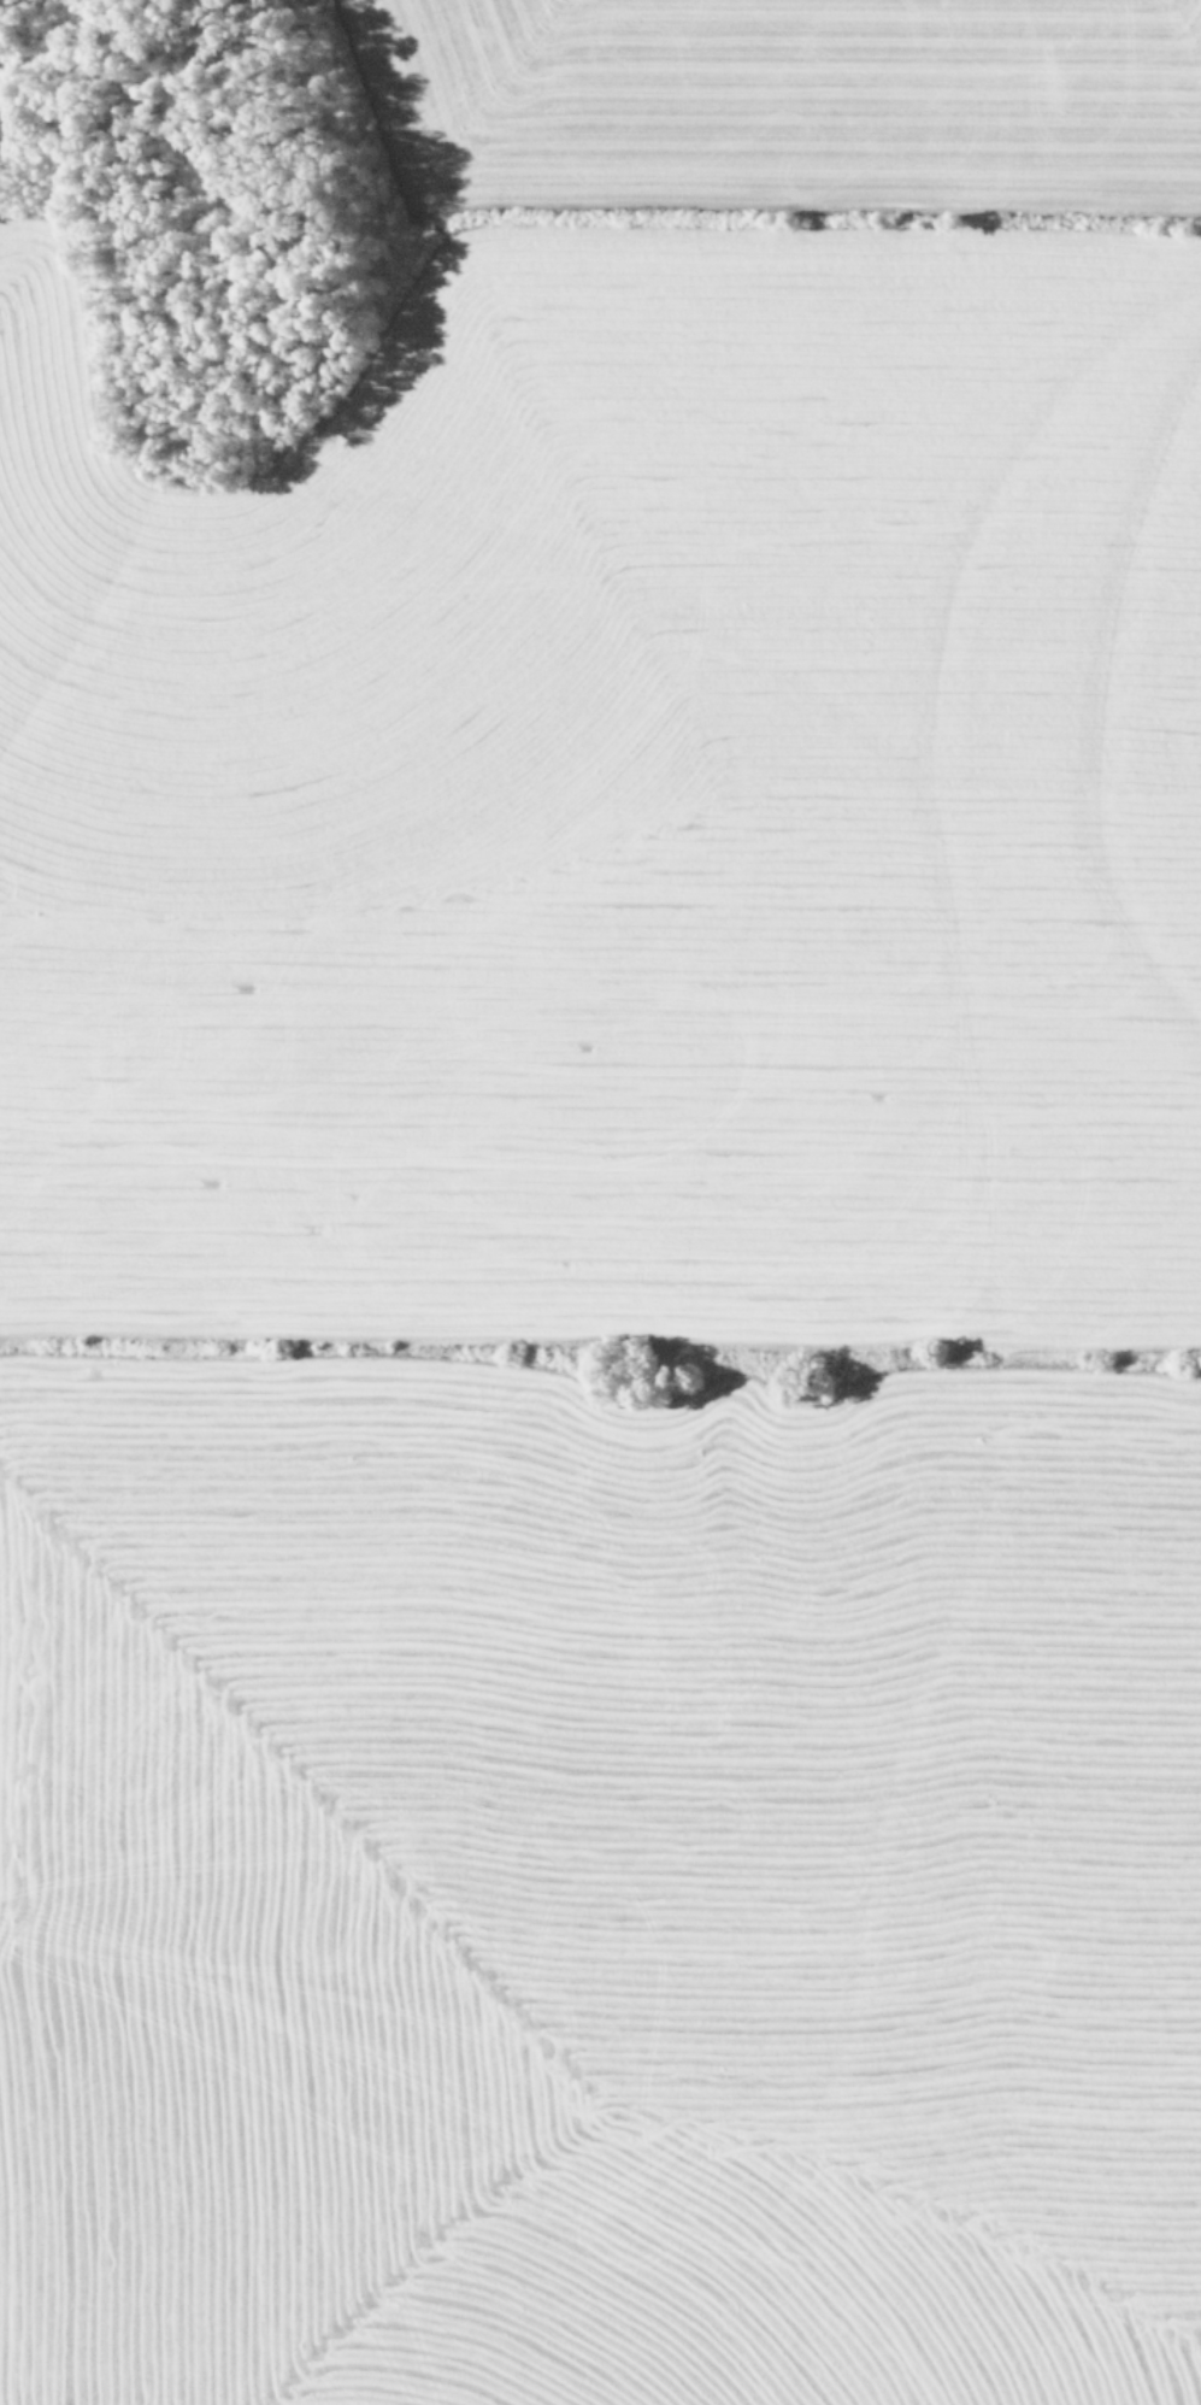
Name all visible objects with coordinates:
crop: (620, 1253)

